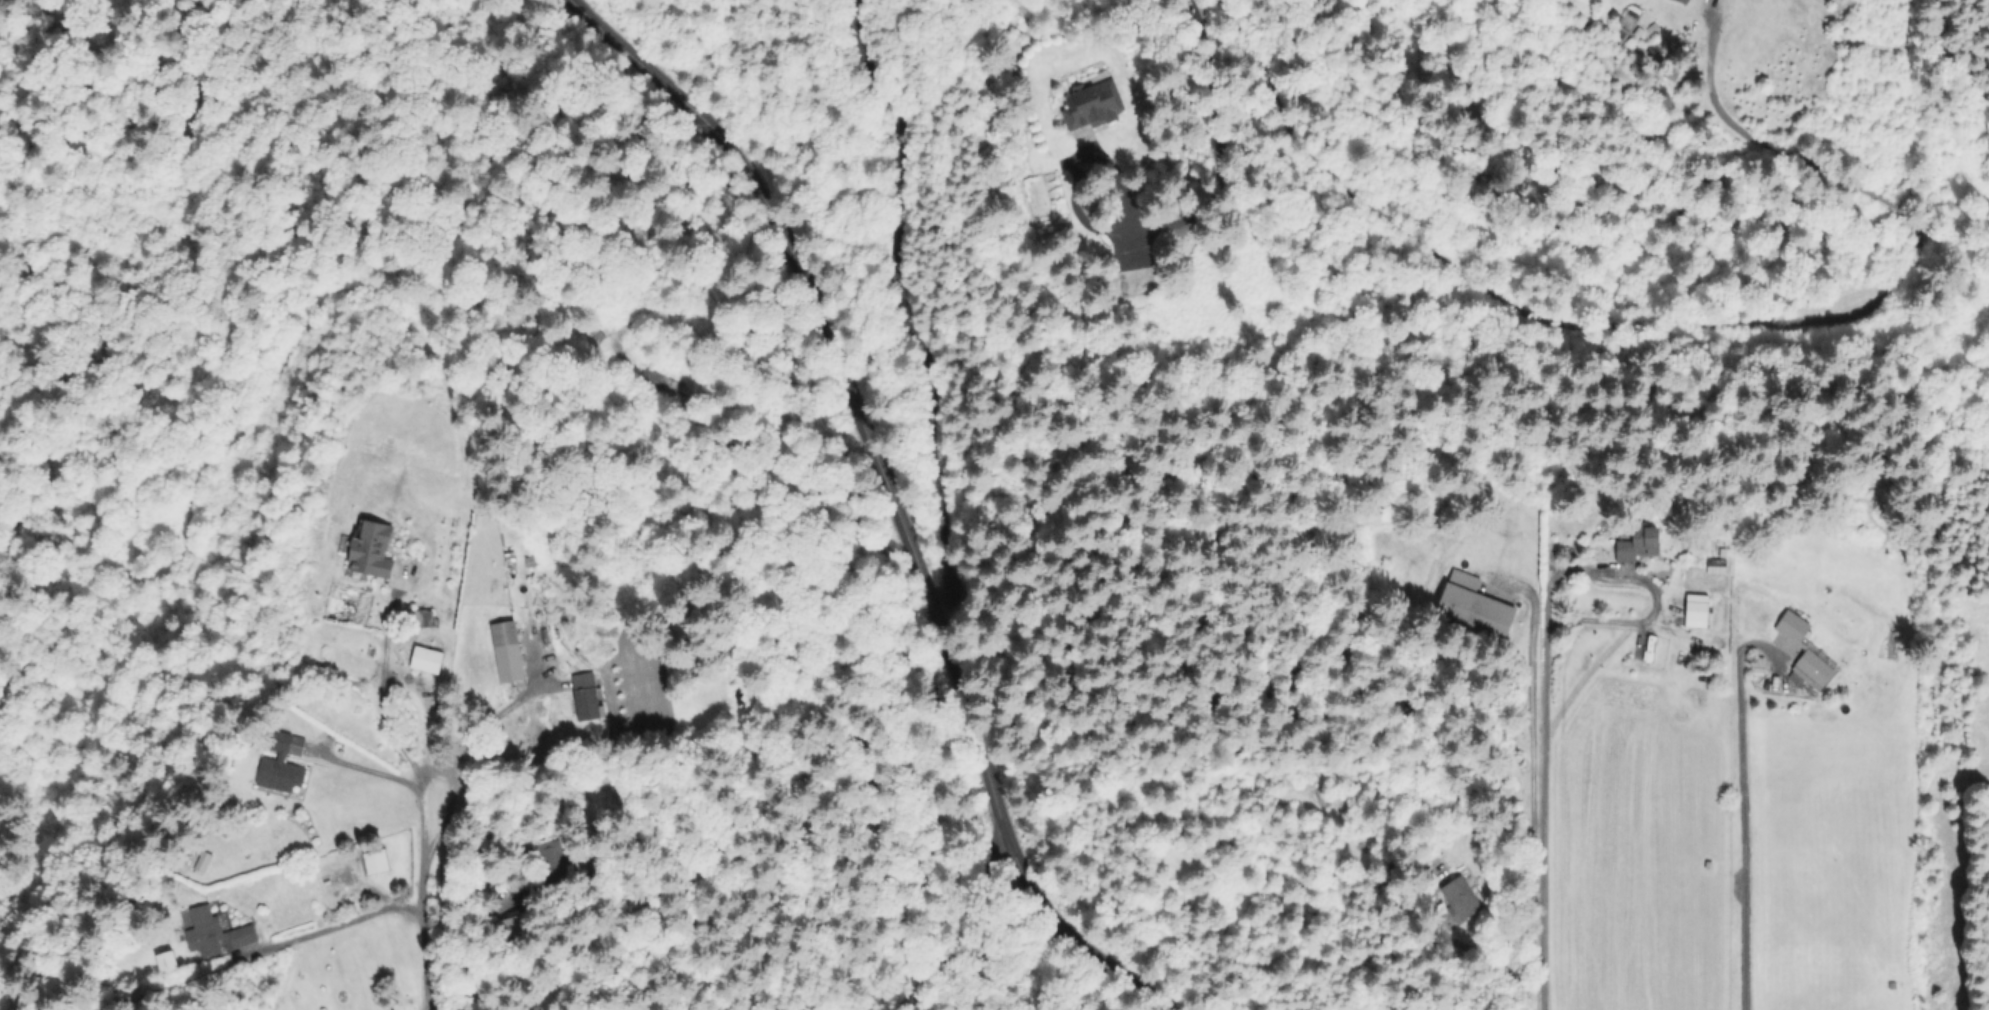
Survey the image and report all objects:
building: (1683, 1)
building: (1728, 2)
building: (1093, 105)
building: (1136, 282)
building: (590, 338)
building: (661, 386)
road: (888, 500)
building: (1380, 539)
building: (1637, 547)
building: (372, 549)
building: (1715, 568)
road: (1640, 587)
building: (1473, 611)
building: (1695, 612)
building: (419, 618)
building: (1642, 648)
building: (1806, 651)
building: (505, 653)
building: (425, 661)
building: (1759, 665)
building: (345, 667)
building: (584, 698)
road: (392, 703)
road: (482, 727)
building: (279, 741)
road: (374, 772)
building: (280, 775)
road: (1523, 786)
road: (1735, 799)
road: (1537, 816)
building: (377, 861)
building: (204, 862)
building: (552, 867)
building: (1437, 873)
building: (1462, 897)
road: (416, 902)
road: (960, 925)
building: (205, 931)
building: (515, 933)
building: (244, 935)
road: (261, 952)
building: (165, 962)

